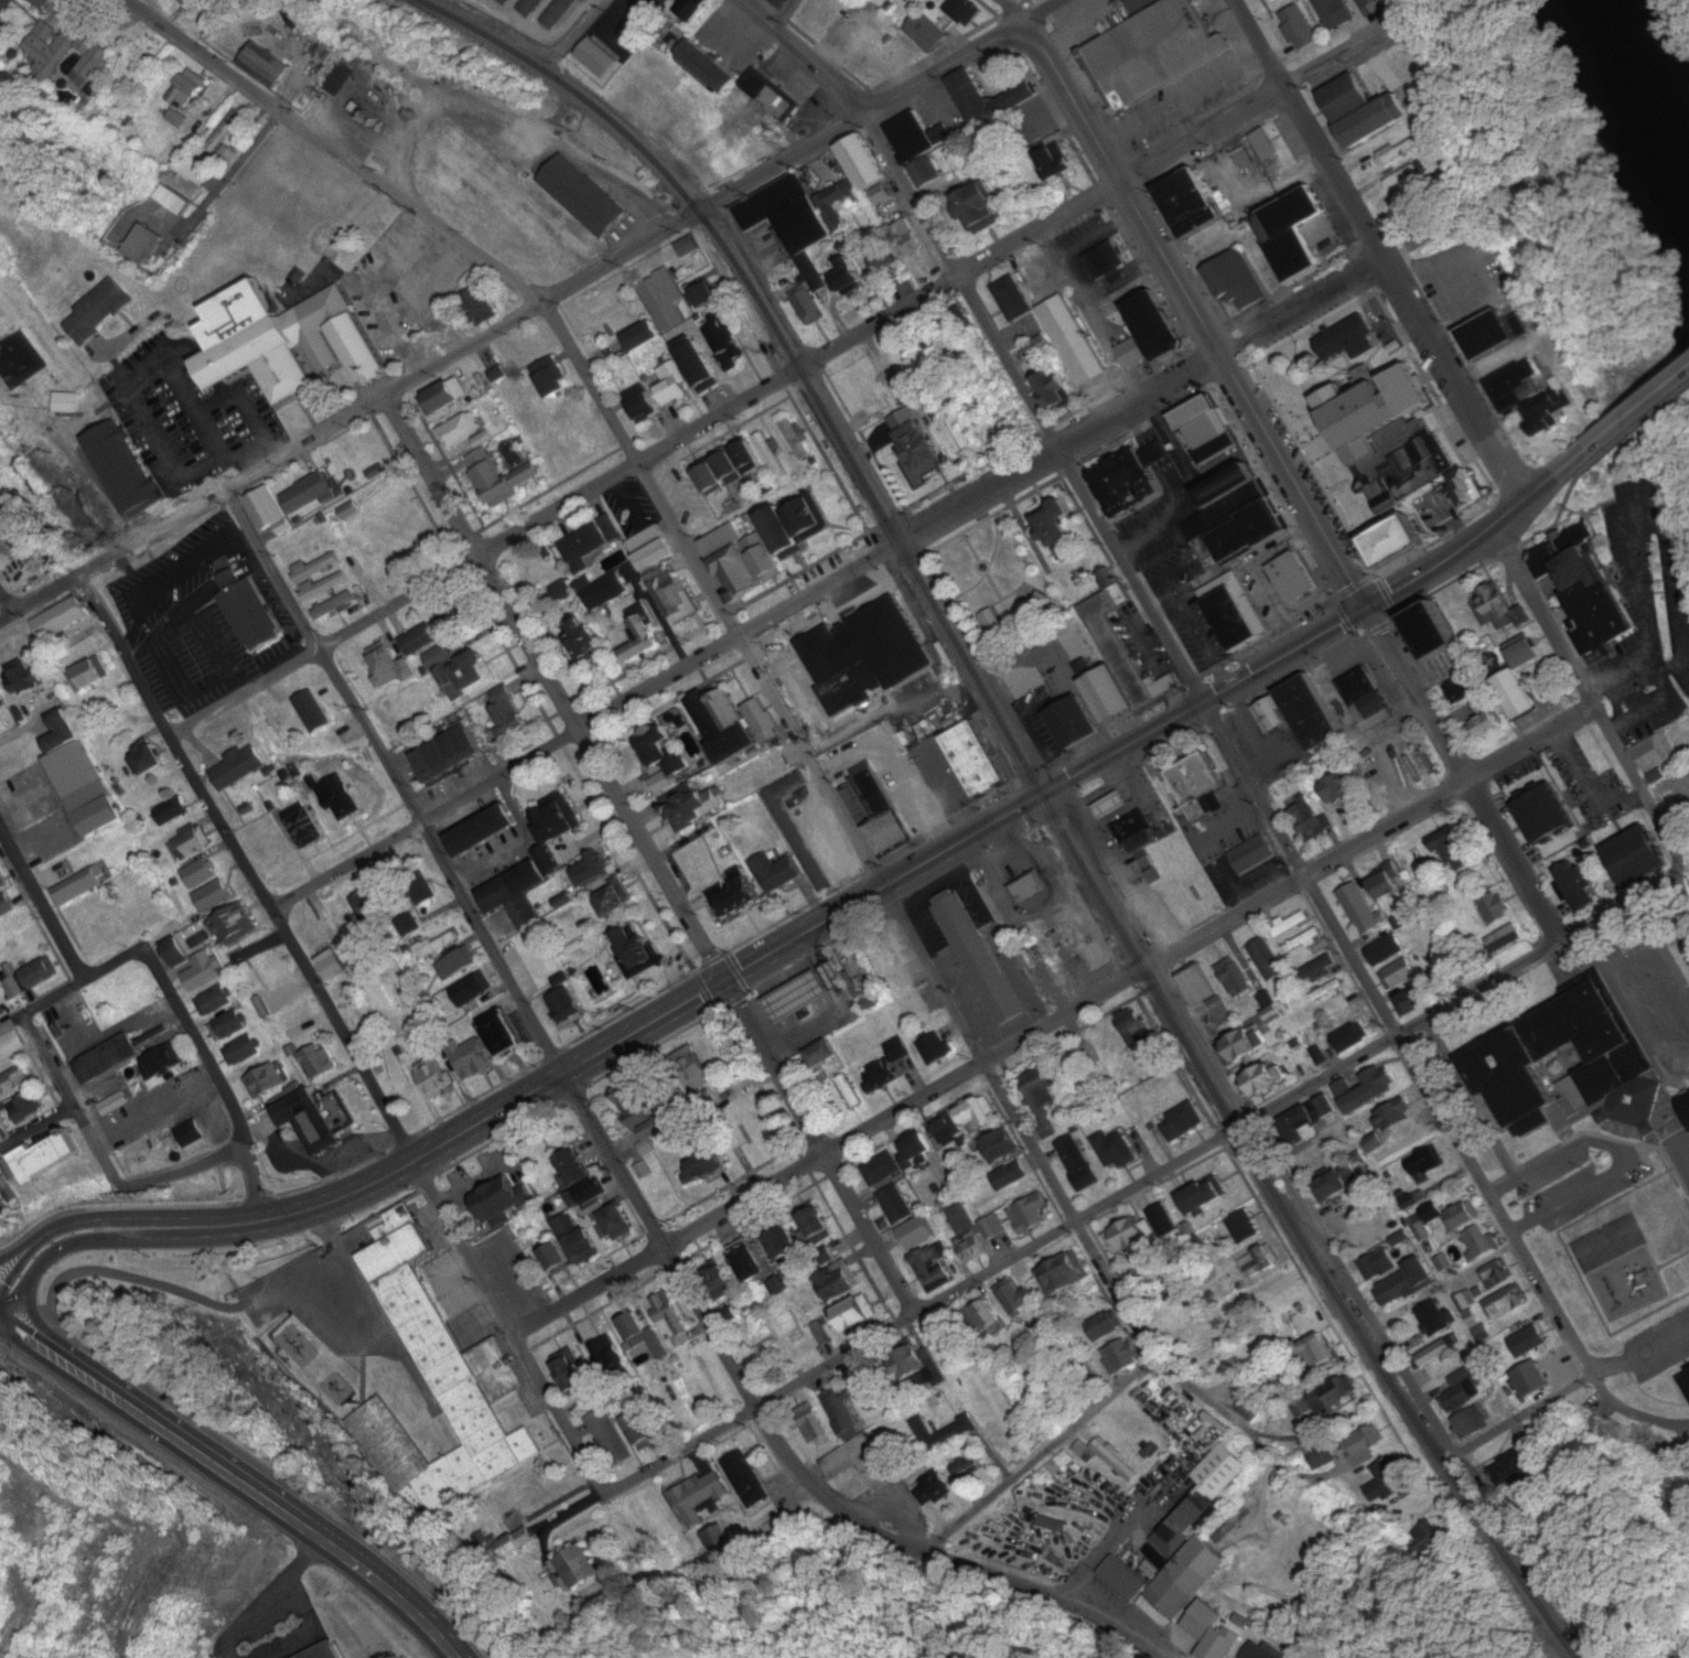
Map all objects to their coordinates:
road: (1063, 0)
building: (505, 2)
building: (40, 3)
building: (937, 4)
building: (1143, 4)
building: (529, 7)
building: (689, 9)
building: (966, 11)
road: (1014, 12)
building: (1336, 12)
building: (559, 13)
road: (782, 14)
road: (1036, 18)
road: (488, 25)
building: (1299, 28)
building: (927, 32)
road: (578, 36)
building: (1155, 49)
building: (68, 53)
building: (600, 57)
road: (806, 57)
building: (266, 66)
road: (946, 66)
building: (709, 67)
river: (1644, 79)
building: (189, 90)
building: (768, 96)
building: (988, 98)
building: (1347, 98)
road: (872, 108)
building: (177, 118)
building: (1373, 121)
building: (226, 131)
road: (1310, 131)
building: (917, 136)
building: (1265, 144)
building: (1397, 152)
building: (228, 154)
building: (1054, 161)
road: (771, 168)
building: (925, 171)
building: (198, 172)
building: (1401, 175)
road: (216, 192)
road: (1099, 195)
building: (583, 196)
building: (174, 200)
building: (1192, 203)
road: (412, 204)
building: (811, 204)
building: (975, 208)
building: (363, 209)
building: (1299, 232)
building: (911, 240)
building: (143, 244)
building: (886, 256)
building: (1106, 260)
building: (849, 272)
building: (1118, 276)
building: (1238, 279)
building: (699, 298)
building: (1012, 298)
building: (806, 304)
building: (480, 305)
building: (660, 310)
building: (99, 312)
road: (1197, 315)
building: (1152, 326)
building: (1488, 334)
building: (1345, 338)
building: (1073, 340)
building: (286, 341)
building: (724, 346)
building: (1136, 352)
road: (1218, 355)
road: (451, 356)
building: (904, 363)
building: (698, 364)
road: (789, 372)
road: (1455, 380)
building: (867, 384)
building: (1515, 384)
building: (671, 385)
building: (1053, 390)
building: (442, 398)
building: (66, 402)
building: (645, 402)
road: (1634, 405)
building: (1549, 408)
building: (1197, 411)
building: (986, 429)
building: (1211, 430)
building: (462, 431)
building: (1390, 432)
building: (795, 439)
building: (766, 449)
building: (919, 449)
building: (1218, 449)
building: (747, 455)
building: (127, 469)
building: (716, 474)
building: (492, 477)
building: (1129, 482)
building: (1231, 485)
building: (1469, 487)
building: (310, 493)
road: (1084, 495)
building: (269, 509)
building: (1226, 510)
building: (809, 515)
building: (3, 517)
building: (1054, 523)
building: (781, 530)
building: (1245, 532)
building: (1396, 540)
building: (587, 542)
building: (652, 548)
road: (689, 550)
road: (111, 556)
road: (471, 560)
building: (741, 560)
building: (314, 568)
building: (1293, 578)
building: (246, 583)
park: (997, 584)
building: (325, 586)
road: (822, 586)
building: (1588, 586)
building: (603, 591)
building: (675, 594)
road: (8, 605)
building: (335, 605)
building: (1502, 606)
traffic signals: (1369, 607)
building: (260, 609)
building: (455, 615)
building: (1233, 617)
building: (60, 618)
building: (1435, 631)
road: (1324, 632)
building: (580, 636)
building: (642, 638)
building: (419, 639)
building: (1123, 645)
building: (872, 646)
building: (1525, 653)
building: (440, 657)
building: (391, 665)
building: (476, 672)
building: (28, 676)
building: (87, 676)
building: (1465, 688)
building: (1111, 695)
building: (1518, 695)
building: (1367, 699)
building: (0, 703)
road: (1592, 703)
building: (324, 711)
building: (508, 711)
building: (1272, 713)
building: (1311, 713)
building: (762, 720)
building: (1074, 722)
building: (271, 724)
building: (722, 724)
building: (1485, 724)
building: (835, 732)
road: (173, 743)
building: (657, 752)
building: (1654, 753)
building: (449, 754)
building: (14, 756)
building: (977, 760)
building: (148, 761)
building: (240, 766)
road: (505, 774)
road: (1464, 775)
building: (80, 776)
road: (396, 782)
building: (1196, 784)
railway: (1040, 788)
building: (1338, 789)
road: (1449, 790)
building: (338, 797)
building: (685, 806)
building: (1112, 806)
building: (173, 810)
building: (881, 811)
building: (1546, 815)
building: (1309, 817)
building: (302, 825)
building: (795, 826)
building: (482, 830)
building: (1134, 830)
road: (1076, 832)
building: (190, 842)
building: (1451, 848)
road: (653, 853)
building: (1254, 853)
building: (1638, 857)
building: (538, 860)
building: (587, 871)
building: (774, 872)
building: (200, 873)
building: (1386, 885)
building: (1, 886)
building: (79, 886)
building: (1030, 887)
building: (1575, 887)
building: (736, 893)
building: (214, 895)
building: (412, 896)
building: (613, 900)
road: (1682, 901)
road: (41, 902)
building: (6, 905)
building: (1495, 906)
building: (1363, 909)
building: (144, 915)
building: (366, 915)
building: (235, 924)
road: (1230, 924)
building: (12, 925)
building: (342, 925)
building: (315, 936)
building: (1503, 938)
building: (1303, 941)
building: (438, 945)
building: (1387, 949)
building: (177, 951)
building: (637, 951)
building: (979, 958)
building: (1268, 959)
building: (1678, 959)
building: (889, 962)
building: (455, 966)
building: (332, 967)
building: (1314, 968)
building: (267, 970)
building: (202, 972)
building: (1401, 973)
building: (35, 977)
building: (1235, 979)
road: (80, 980)
building: (1197, 986)
building: (471, 990)
building: (1327, 991)
building: (806, 993)
building: (282, 995)
building: (215, 999)
road: (948, 999)
building: (1414, 1000)
building: (1270, 1006)
building: (1, 1008)
building: (86, 1018)
road: (10, 1019)
building: (913, 1019)
building: (297, 1020)
building: (228, 1024)
building: (1137, 1029)
building: (505, 1034)
road: (344, 1035)
building: (1349, 1037)
building: (1105, 1046)
building: (937, 1047)
building: (1242, 1048)
building: (241, 1049)
building: (824, 1057)
building: (472, 1058)
building: (108, 1059)
building: (318, 1061)
building: (893, 1062)
building: (160, 1064)
building: (692, 1069)
building: (1580, 1073)
building: (432, 1078)
road: (217, 1079)
building: (14, 1080)
building: (265, 1080)
building: (1262, 1083)
building: (1371, 1089)
building: (849, 1091)
road: (535, 1092)
road: (69, 1099)
building: (1042, 1100)
building: (24, 1109)
building: (639, 1111)
building: (978, 1115)
building: (310, 1120)
building: (1388, 1122)
building: (1180, 1123)
building: (1304, 1124)
road: (1450, 1126)
building: (946, 1130)
road: (37, 1132)
building: (192, 1134)
building: (919, 1146)
building: (1003, 1146)
building: (1116, 1150)
road: (833, 1151)
building: (43, 1156)
building: (1079, 1162)
building: (706, 1165)
building: (1422, 1166)
road: (184, 1167)
building: (881, 1169)
road: (1160, 1171)
building: (1011, 1175)
building: (583, 1182)
building: (1333, 1185)
building: (1203, 1196)
building: (501, 1201)
building: (0, 1203)
building: (897, 1205)
building: (1031, 1213)
building: (1462, 1217)
building: (613, 1219)
building: (816, 1221)
building: (1242, 1226)
building: (918, 1232)
building: (975, 1232)
building: (1129, 1235)
building: (578, 1237)
building: (1481, 1241)
building: (785, 1243)
building: (749, 1259)
building: (1255, 1263)
building: (934, 1264)
building: (1379, 1264)
building: (1062, 1275)
building: (1141, 1279)
building: (717, 1280)
building: (839, 1282)
building: (1402, 1285)
building: (1014, 1295)
building: (1506, 1302)
building: (858, 1315)
building: (668, 1316)
building: (983, 1316)
building: (1438, 1317)
building: (1477, 1324)
building: (1104, 1327)
building: (639, 1331)
building: (1520, 1331)
road: (518, 1346)
building: (1319, 1350)
building: (1435, 1353)
building: (607, 1354)
building: (1125, 1355)
building: (921, 1361)
building: (1688, 1368)
building: (572, 1371)
building: (1553, 1375)
building: (445, 1376)
building: (1686, 1382)
building: (1463, 1390)
building: (1322, 1400)
road: (1215, 1407)
building: (841, 1410)
road: (1634, 1412)
road: (1525, 1414)
building: (1474, 1423)
building: (813, 1426)
building: (600, 1430)
building: (638, 1430)
building: (953, 1433)
road: (1288, 1441)
building: (1362, 1446)
road: (784, 1449)
road: (1041, 1456)
building: (1114, 1461)
building: (1514, 1464)
building: (857, 1466)
building: (1053, 1467)
building: (966, 1469)
building: (1389, 1479)
road: (235, 1481)
building: (741, 1481)
building: (933, 1490)
building: (698, 1494)
building: (1430, 1538)
building: (1171, 1540)
building: (515, 1542)
building: (577, 1567)
building: (1216, 1635)
building: (324, 1652)

